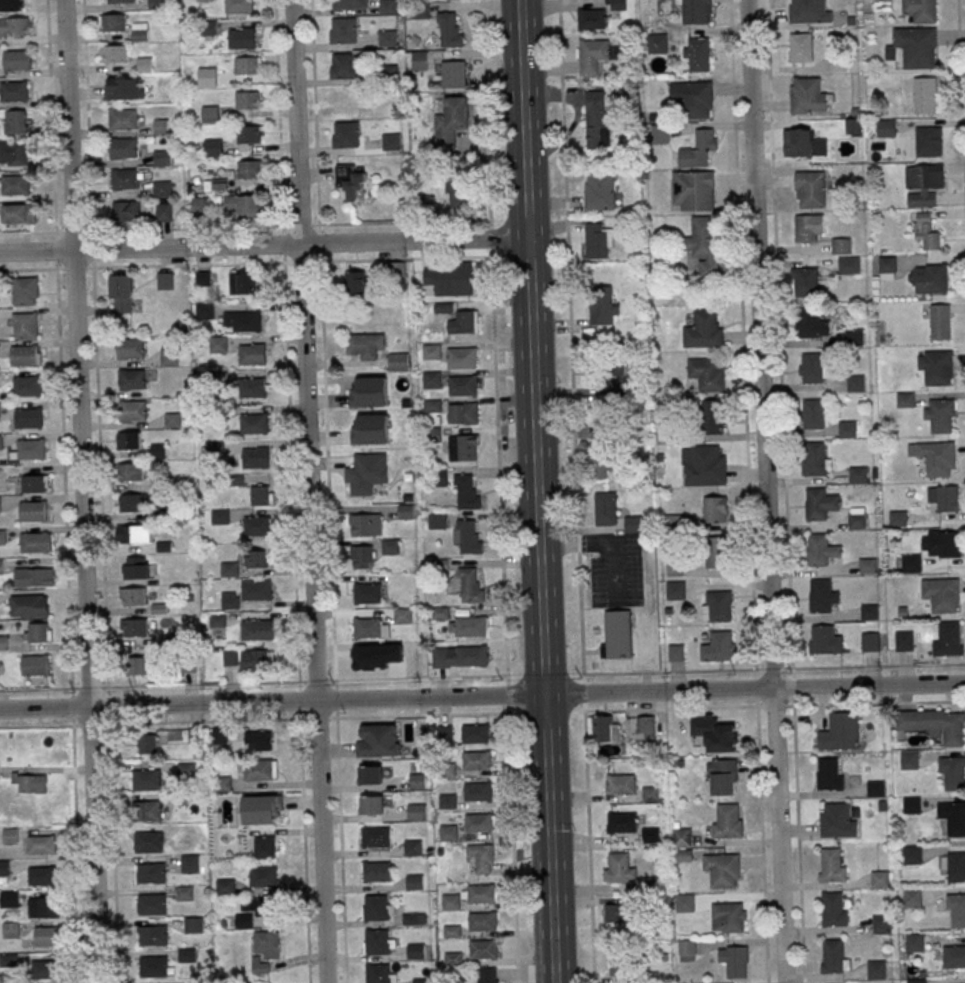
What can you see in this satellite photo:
building: (204, 0)
building: (119, 1)
building: (157, 4)
building: (354, 4)
building: (10, 5)
building: (239, 6)
building: (387, 6)
building: (809, 10)
building: (921, 10)
building: (695, 11)
building: (597, 15)
building: (112, 23)
building: (14, 26)
building: (208, 28)
building: (342, 30)
building: (450, 31)
building: (139, 32)
building: (241, 38)
building: (387, 38)
building: (657, 43)
building: (802, 46)
building: (913, 47)
building: (699, 50)
building: (113, 54)
building: (593, 55)
building: (17, 59)
building: (420, 60)
building: (145, 64)
building: (248, 65)
building: (343, 66)
building: (454, 73)
building: (207, 75)
building: (123, 87)
building: (14, 90)
building: (807, 93)
building: (924, 94)
building: (694, 97)
building: (247, 100)
building: (211, 113)
building: (123, 118)
building: (452, 119)
building: (597, 120)
building: (16, 121)
building: (161, 126)
road: (315, 131)
road: (88, 134)
building: (659, 134)
building: (249, 135)
building: (345, 135)
building: (929, 140)
building: (391, 142)
building: (797, 142)
building: (124, 147)
building: (213, 147)
building: (700, 149)
building: (13, 151)
building: (163, 157)
building: (250, 169)
building: (125, 178)
building: (351, 181)
building: (16, 184)
building: (811, 187)
building: (921, 187)
building: (162, 188)
building: (694, 189)
building: (600, 190)
building: (456, 197)
building: (199, 205)
building: (242, 205)
building: (127, 210)
building: (164, 210)
building: (19, 212)
building: (806, 228)
building: (927, 232)
road: (491, 239)
building: (596, 240)
road: (262, 244)
building: (703, 245)
building: (841, 246)
building: (887, 263)
building: (849, 264)
building: (373, 278)
building: (450, 279)
building: (930, 279)
building: (165, 281)
building: (806, 281)
building: (243, 283)
building: (25, 291)
building: (121, 294)
building: (602, 306)
building: (443, 308)
building: (204, 311)
building: (940, 320)
building: (242, 321)
building: (809, 321)
building: (464, 323)
building: (25, 326)
building: (704, 330)
building: (854, 336)
building: (218, 344)
building: (130, 347)
building: (364, 347)
building: (432, 351)
building: (252, 354)
building: (24, 355)
building: (169, 357)
building: (463, 357)
building: (398, 363)
building: (812, 366)
building: (937, 366)
building: (608, 374)
building: (708, 374)
building: (132, 379)
building: (432, 379)
building: (856, 382)
building: (27, 385)
building: (464, 385)
building: (254, 388)
building: (369, 392)
building: (906, 399)
building: (132, 409)
building: (464, 412)
building: (814, 413)
building: (940, 414)
building: (29, 417)
building: (713, 417)
building: (172, 420)
building: (254, 424)
building: (847, 428)
building: (370, 429)
building: (128, 441)
building: (0, 442)
building: (463, 447)
building: (29, 450)
building: (158, 451)
building: (256, 457)
building: (815, 457)
building: (937, 457)
building: (597, 460)
building: (704, 465)
road: (500, 466)
road: (328, 471)
building: (129, 472)
building: (366, 472)
road: (291, 473)
building: (858, 473)
road: (64, 478)
building: (439, 478)
building: (34, 484)
road: (82, 491)
road: (311, 491)
road: (535, 491)
road: (765, 491)
building: (467, 492)
building: (262, 495)
road: (101, 496)
building: (948, 497)
building: (133, 502)
building: (820, 503)
building: (0, 505)
building: (714, 508)
building: (606, 509)
building: (34, 511)
building: (897, 518)
building: (856, 520)
building: (437, 521)
building: (632, 524)
building: (366, 525)
building: (259, 526)
building: (134, 534)
building: (470, 536)
building: (2, 537)
building: (34, 542)
building: (949, 542)
building: (390, 546)
building: (820, 549)
building: (715, 550)
building: (362, 557)
building: (256, 559)
building: (911, 562)
building: (867, 565)
building: (137, 568)
building: (674, 568)
building: (38, 577)
building: (471, 585)
building: (260, 591)
building: (675, 591)
building: (942, 593)
building: (367, 594)
building: (822, 595)
building: (133, 597)
building: (30, 604)
building: (720, 606)
building: (869, 611)
building: (439, 613)
building: (402, 615)
building: (471, 626)
building: (134, 627)
building: (370, 628)
building: (257, 630)
building: (37, 633)
building: (617, 635)
building: (826, 638)
building: (948, 638)
building: (903, 640)
building: (870, 641)
building: (717, 646)
building: (676, 653)
building: (472, 654)
building: (230, 658)
building: (257, 661)
building: (35, 665)
building: (139, 666)
road: (35, 689)
road: (482, 696)
road: (651, 709)
road: (508, 712)
road: (168, 722)
building: (934, 724)
building: (604, 729)
building: (645, 732)
building: (838, 732)
building: (475, 734)
building: (714, 734)
building: (219, 735)
road: (794, 739)
building: (259, 741)
building: (379, 741)
building: (147, 744)
building: (909, 759)
building: (477, 761)
building: (186, 770)
building: (258, 770)
building: (952, 772)
building: (370, 775)
building: (828, 775)
building: (723, 777)
building: (146, 780)
building: (417, 781)
building: (30, 782)
building: (621, 784)
building: (875, 788)
building: (478, 791)
building: (650, 795)
building: (447, 801)
building: (375, 804)
building: (911, 804)
building: (262, 809)
building: (149, 811)
building: (417, 812)
road: (304, 814)
building: (956, 819)
building: (727, 822)
building: (836, 822)
building: (478, 823)
building: (621, 823)
road: (760, 826)
building: (448, 833)
building: (650, 835)
building: (10, 836)
building: (376, 837)
building: (681, 837)
building: (149, 842)
building: (41, 845)
building: (264, 847)
building: (413, 847)
road: (588, 847)
road: (513, 848)
road: (341, 850)
road: (113, 853)
building: (912, 854)
building: (684, 856)
building: (483, 858)
building: (189, 863)
building: (832, 866)
building: (956, 867)
building: (4, 868)
building: (619, 868)
building: (722, 869)
building: (376, 871)
building: (151, 874)
building: (42, 876)
building: (263, 877)
building: (879, 879)
building: (414, 882)
building: (225, 887)
building: (184, 893)
building: (479, 894)
building: (912, 897)
building: (8, 899)
building: (450, 902)
building: (684, 903)
building: (152, 904)
building: (255, 906)
building: (44, 907)
building: (377, 908)
building: (831, 909)
building: (958, 911)
building: (616, 913)
building: (728, 918)
building: (414, 919)
building: (483, 922)
building: (881, 923)
building: (192, 925)
building: (10, 930)
building: (450, 931)
building: (152, 936)
building: (48, 937)
building: (378, 942)
building: (914, 942)
building: (266, 944)
building: (483, 949)
building: (416, 951)
building: (686, 951)
building: (833, 956)
building: (954, 957)
building: (620, 961)
building: (736, 963)
building: (153, 967)
building: (43, 969)
building: (876, 969)
building: (380, 973)
building: (488, 975)
building: (916, 980)
building: (421, 981)

